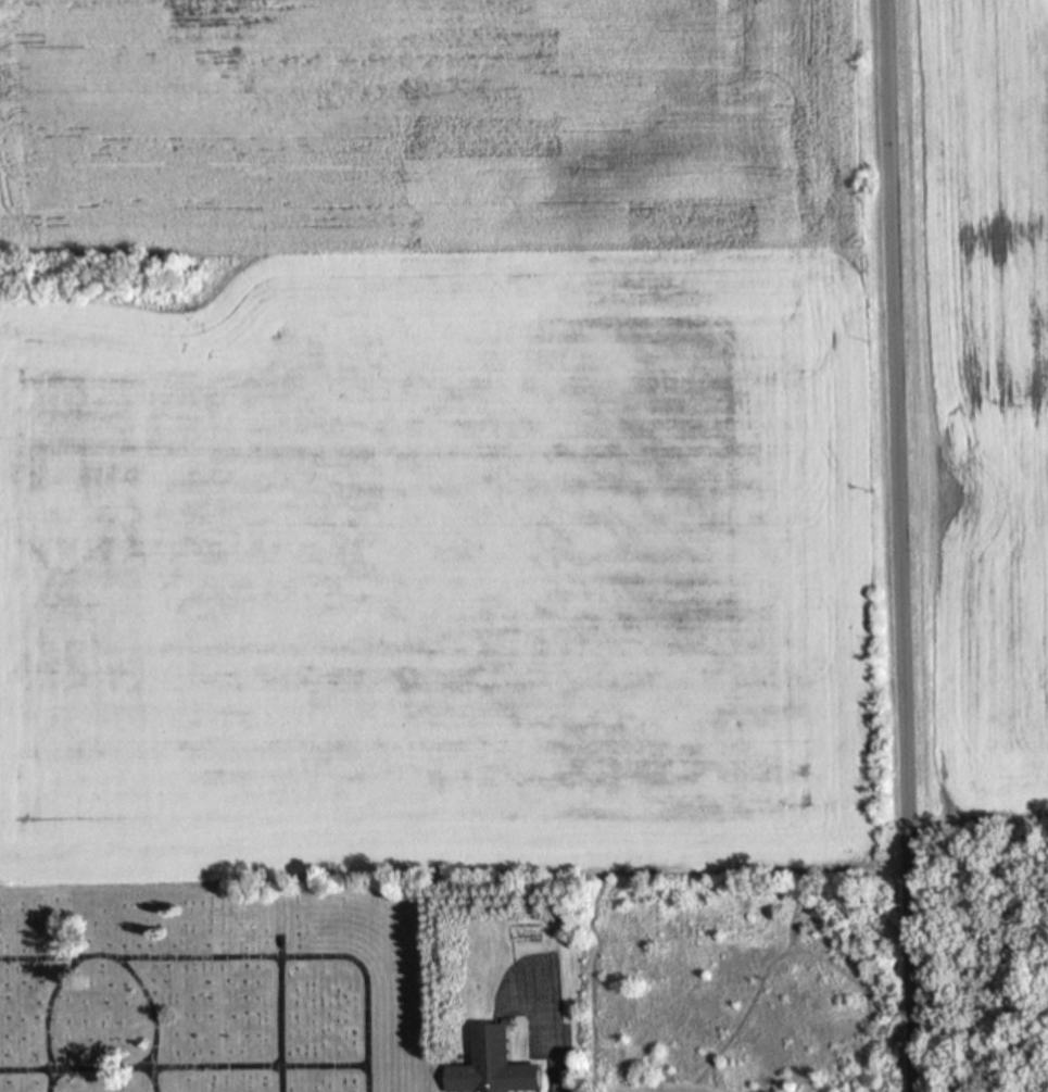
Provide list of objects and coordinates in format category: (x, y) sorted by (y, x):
road: (898, 545)
road: (242, 957)
park: (212, 989)
road: (277, 1014)
road: (42, 1018)
road: (150, 1018)
building: (491, 1065)
road: (182, 1068)

